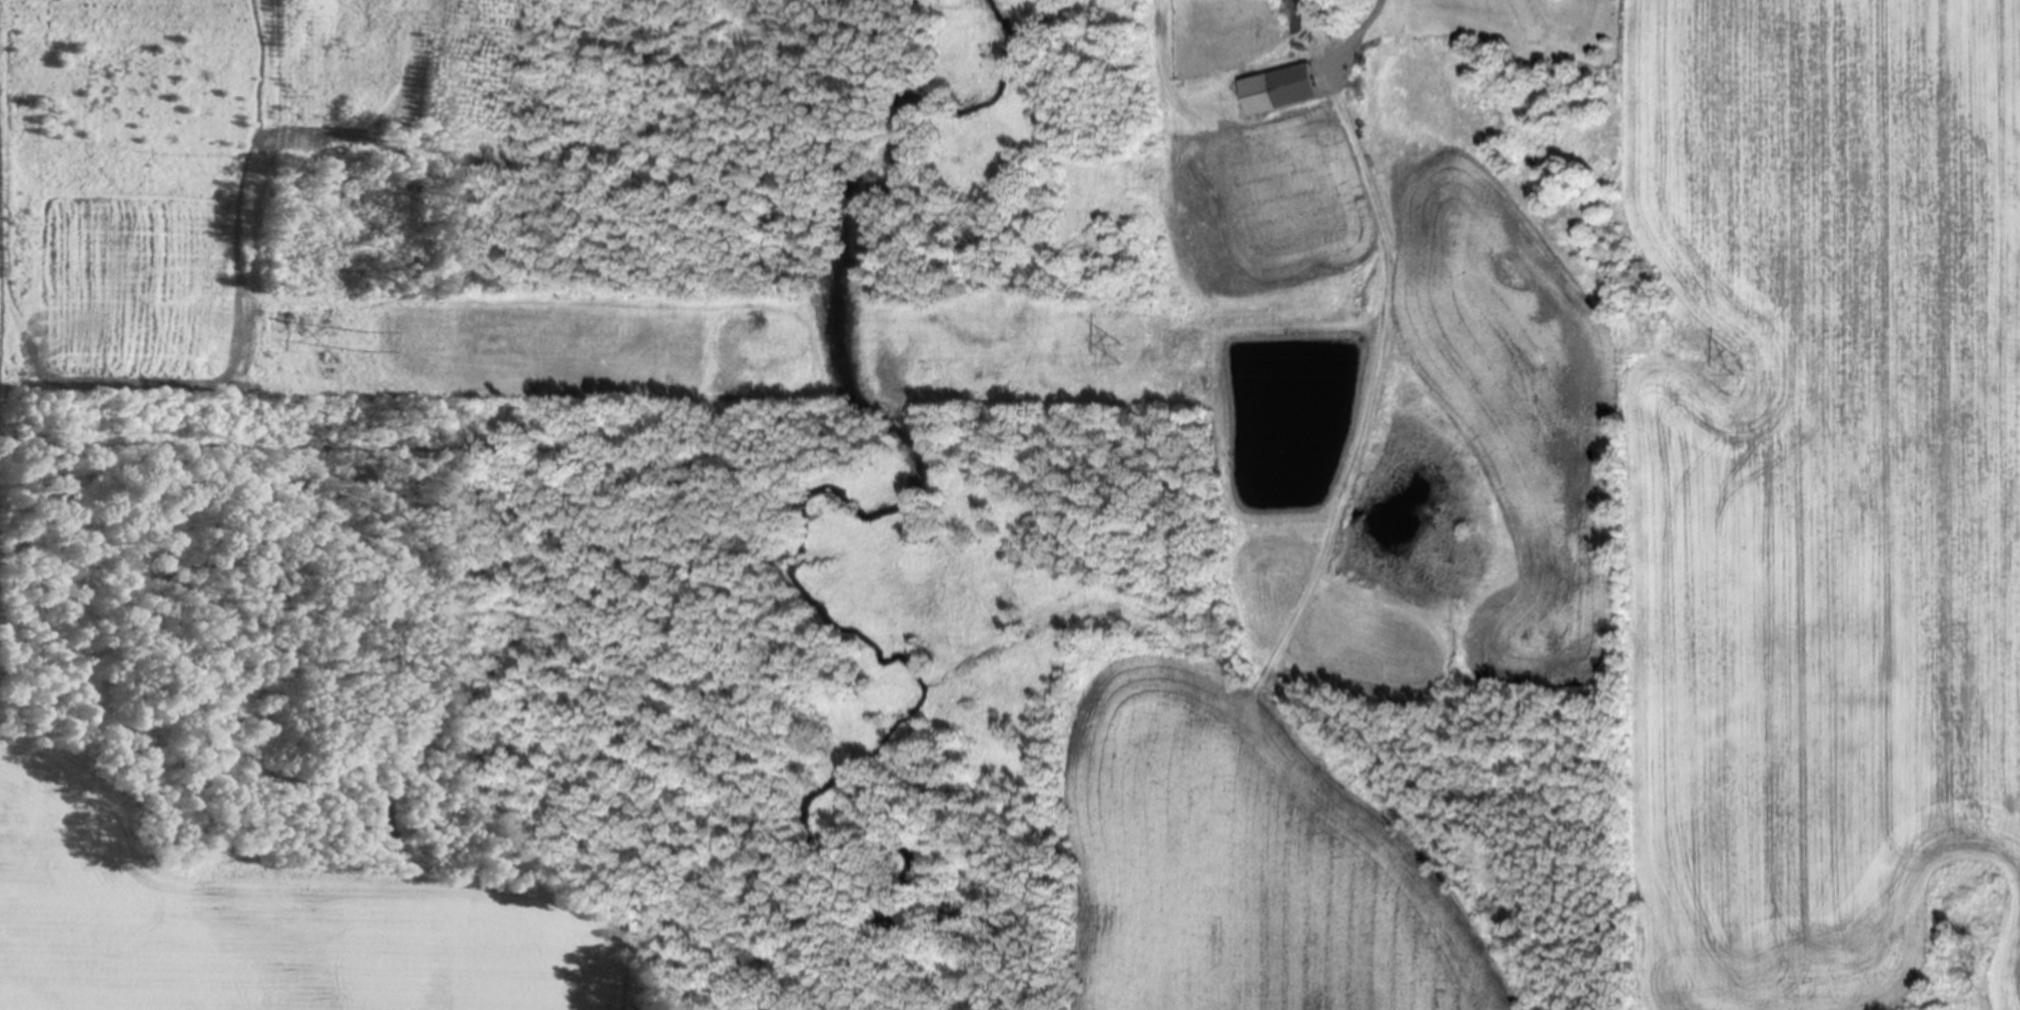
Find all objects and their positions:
road: (1361, 31)
building: (1286, 88)
power tower: (362, 345)
power tower: (1117, 356)
power tower: (1737, 366)

